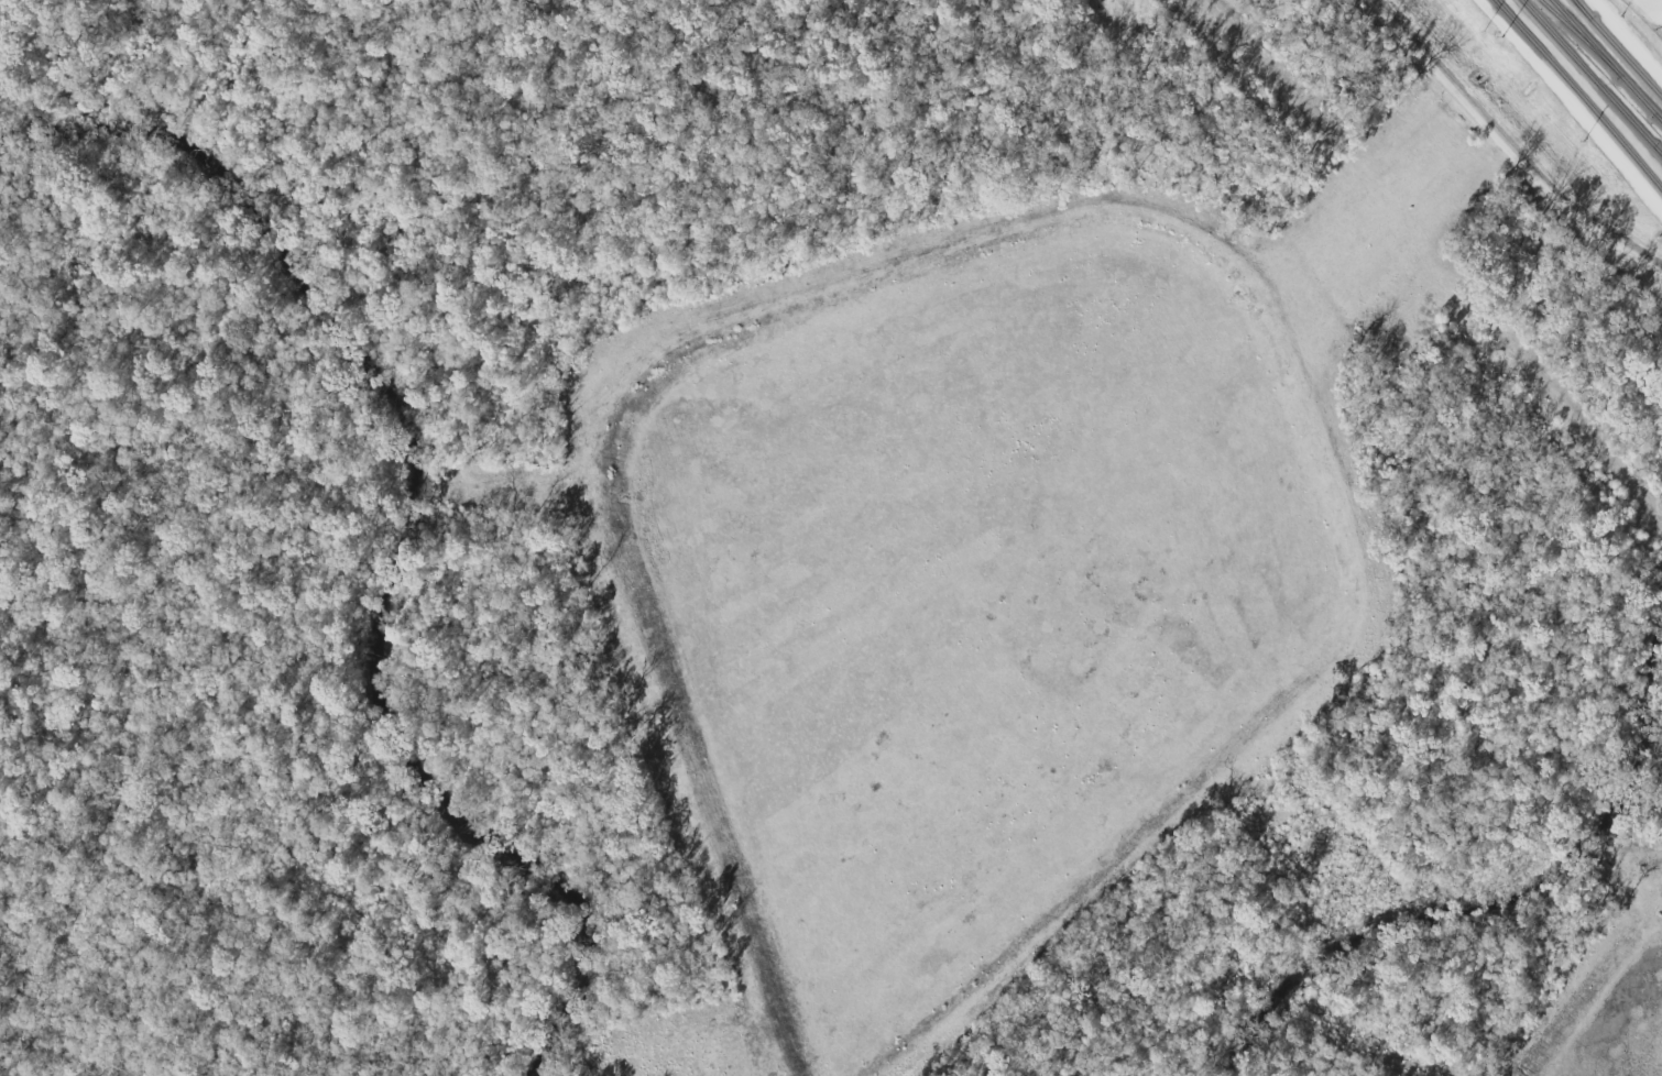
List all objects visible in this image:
road: (1647, 6)
road: (1627, 40)
railway: (1601, 59)
railway: (1573, 99)
road: (1504, 149)

